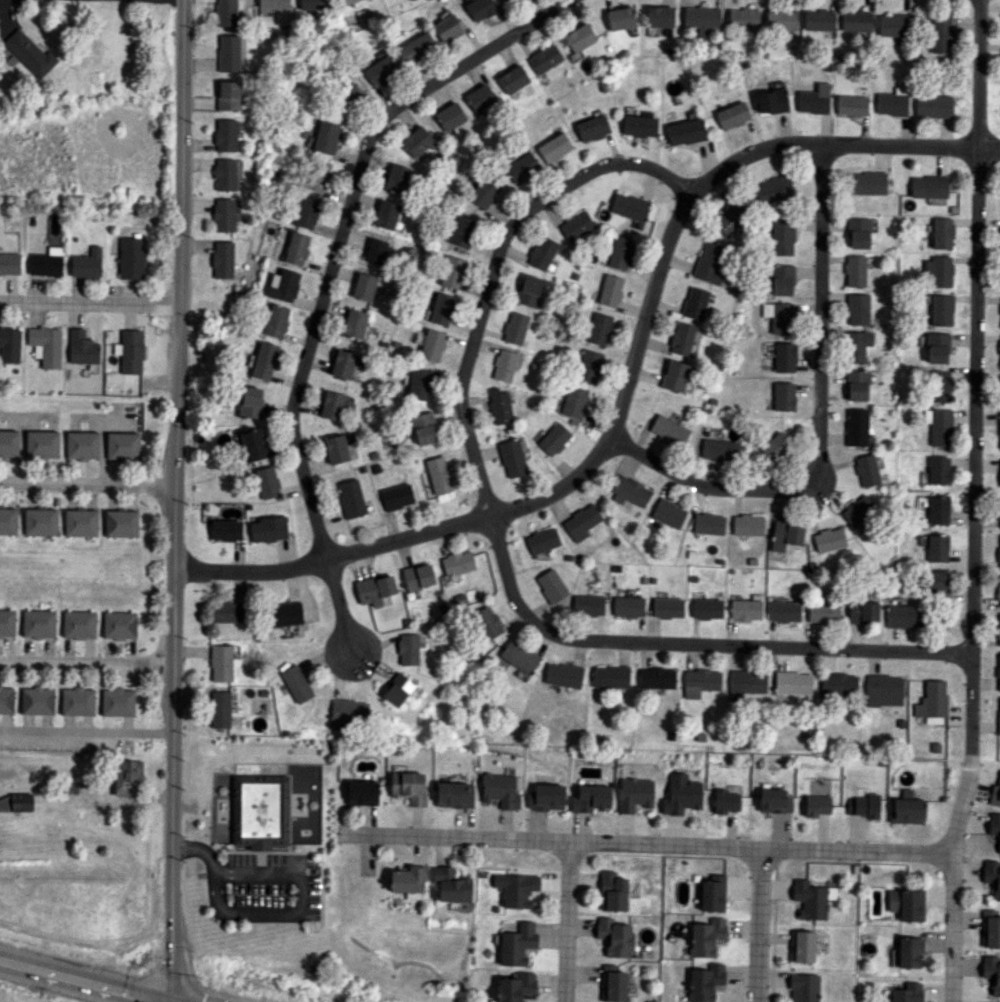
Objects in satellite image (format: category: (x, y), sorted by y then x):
building: (348, 1)
building: (272, 3)
building: (312, 5)
building: (479, 9)
building: (226, 13)
building: (659, 16)
building: (620, 18)
building: (701, 18)
building: (743, 18)
building: (781, 20)
building: (818, 20)
building: (856, 21)
building: (894, 25)
building: (446, 28)
building: (941, 34)
building: (579, 37)
building: (414, 47)
building: (228, 52)
building: (29, 53)
building: (544, 58)
building: (379, 68)
building: (512, 79)
building: (228, 95)
building: (480, 98)
building: (813, 100)
building: (771, 101)
building: (892, 102)
building: (851, 105)
building: (932, 106)
building: (732, 115)
building: (449, 116)
building: (639, 126)
building: (591, 128)
building: (685, 132)
building: (225, 135)
building: (324, 138)
building: (417, 142)
building: (553, 147)
building: (521, 167)
building: (224, 174)
building: (317, 175)
building: (396, 178)
building: (867, 182)
building: (928, 186)
building: (773, 189)
building: (483, 191)
building: (629, 206)
building: (306, 212)
building: (386, 214)
building: (223, 215)
building: (730, 218)
building: (576, 225)
road: (341, 230)
building: (461, 231)
building: (858, 233)
building: (941, 233)
building: (782, 236)
building: (296, 248)
building: (376, 251)
building: (542, 252)
building: (620, 252)
building: (131, 257)
building: (222, 259)
building: (46, 262)
building: (9, 263)
building: (86, 263)
building: (709, 264)
road: (491, 270)
building: (854, 270)
building: (938, 271)
building: (452, 272)
building: (781, 279)
building: (283, 285)
building: (364, 286)
building: (529, 290)
building: (610, 290)
building: (694, 303)
road: (88, 306)
building: (441, 308)
building: (856, 308)
building: (940, 310)
building: (779, 317)
building: (276, 321)
building: (354, 323)
building: (999, 326)
building: (515, 328)
building: (599, 329)
building: (681, 338)
building: (9, 345)
building: (45, 345)
building: (429, 345)
building: (856, 345)
building: (81, 347)
building: (936, 347)
building: (999, 348)
building: (130, 351)
building: (783, 357)
building: (264, 360)
building: (343, 364)
building: (504, 365)
building: (588, 365)
building: (673, 376)
road: (626, 379)
building: (419, 384)
building: (856, 385)
building: (938, 385)
building: (999, 390)
building: (782, 396)
building: (573, 401)
building: (251, 402)
building: (333, 405)
building: (499, 406)
road: (815, 421)
building: (855, 426)
building: (938, 426)
building: (422, 427)
building: (999, 429)
building: (668, 430)
building: (553, 439)
building: (8, 443)
building: (42, 444)
building: (82, 444)
building: (252, 444)
building: (122, 445)
building: (775, 446)
building: (336, 449)
building: (718, 450)
building: (512, 458)
building: (866, 470)
building: (937, 470)
building: (438, 475)
building: (267, 482)
road: (87, 488)
building: (629, 491)
building: (397, 496)
building: (351, 498)
road: (174, 500)
road: (972, 502)
building: (937, 509)
building: (857, 510)
building: (668, 513)
building: (999, 513)
building: (8, 521)
building: (40, 521)
building: (582, 521)
building: (80, 522)
building: (120, 523)
building: (708, 523)
building: (747, 525)
building: (268, 529)
building: (225, 530)
building: (785, 535)
building: (828, 539)
building: (542, 540)
building: (936, 548)
building: (998, 552)
building: (458, 564)
building: (418, 576)
building: (935, 583)
building: (551, 585)
building: (374, 589)
building: (998, 591)
building: (588, 605)
road: (336, 606)
building: (628, 606)
building: (667, 607)
building: (706, 608)
building: (746, 608)
building: (227, 611)
building: (783, 611)
building: (862, 612)
building: (822, 613)
building: (284, 614)
building: (904, 616)
building: (7, 622)
building: (486, 622)
building: (38, 623)
building: (78, 624)
building: (119, 624)
building: (998, 630)
road: (690, 643)
building: (408, 649)
building: (519, 656)
building: (221, 663)
road: (87, 665)
building: (998, 672)
building: (563, 675)
building: (610, 676)
building: (656, 678)
building: (702, 679)
building: (296, 683)
building: (745, 683)
building: (792, 683)
building: (838, 684)
building: (397, 690)
building: (883, 690)
building: (6, 700)
building: (36, 700)
building: (77, 701)
building: (117, 702)
building: (931, 702)
building: (219, 709)
building: (349, 711)
building: (998, 714)
road: (87, 731)
building: (127, 778)
building: (408, 787)
building: (499, 790)
building: (361, 792)
building: (994, 792)
building: (453, 794)
building: (635, 794)
building: (681, 794)
building: (546, 796)
building: (591, 798)
building: (774, 800)
building: (726, 801)
building: (15, 803)
building: (816, 805)
building: (864, 805)
building: (259, 810)
building: (906, 811)
building: (994, 826)
road: (648, 845)
building: (992, 877)
building: (405, 879)
building: (450, 885)
building: (516, 889)
building: (612, 891)
building: (812, 898)
building: (906, 904)
road: (277, 913)
road: (567, 922)
road: (757, 926)
building: (990, 929)
building: (615, 937)
building: (706, 937)
building: (517, 944)
building: (802, 946)
building: (909, 952)
building: (991, 972)
road: (73, 982)
building: (705, 982)
building: (612, 984)
building: (515, 987)
building: (804, 987)
building: (907, 993)

